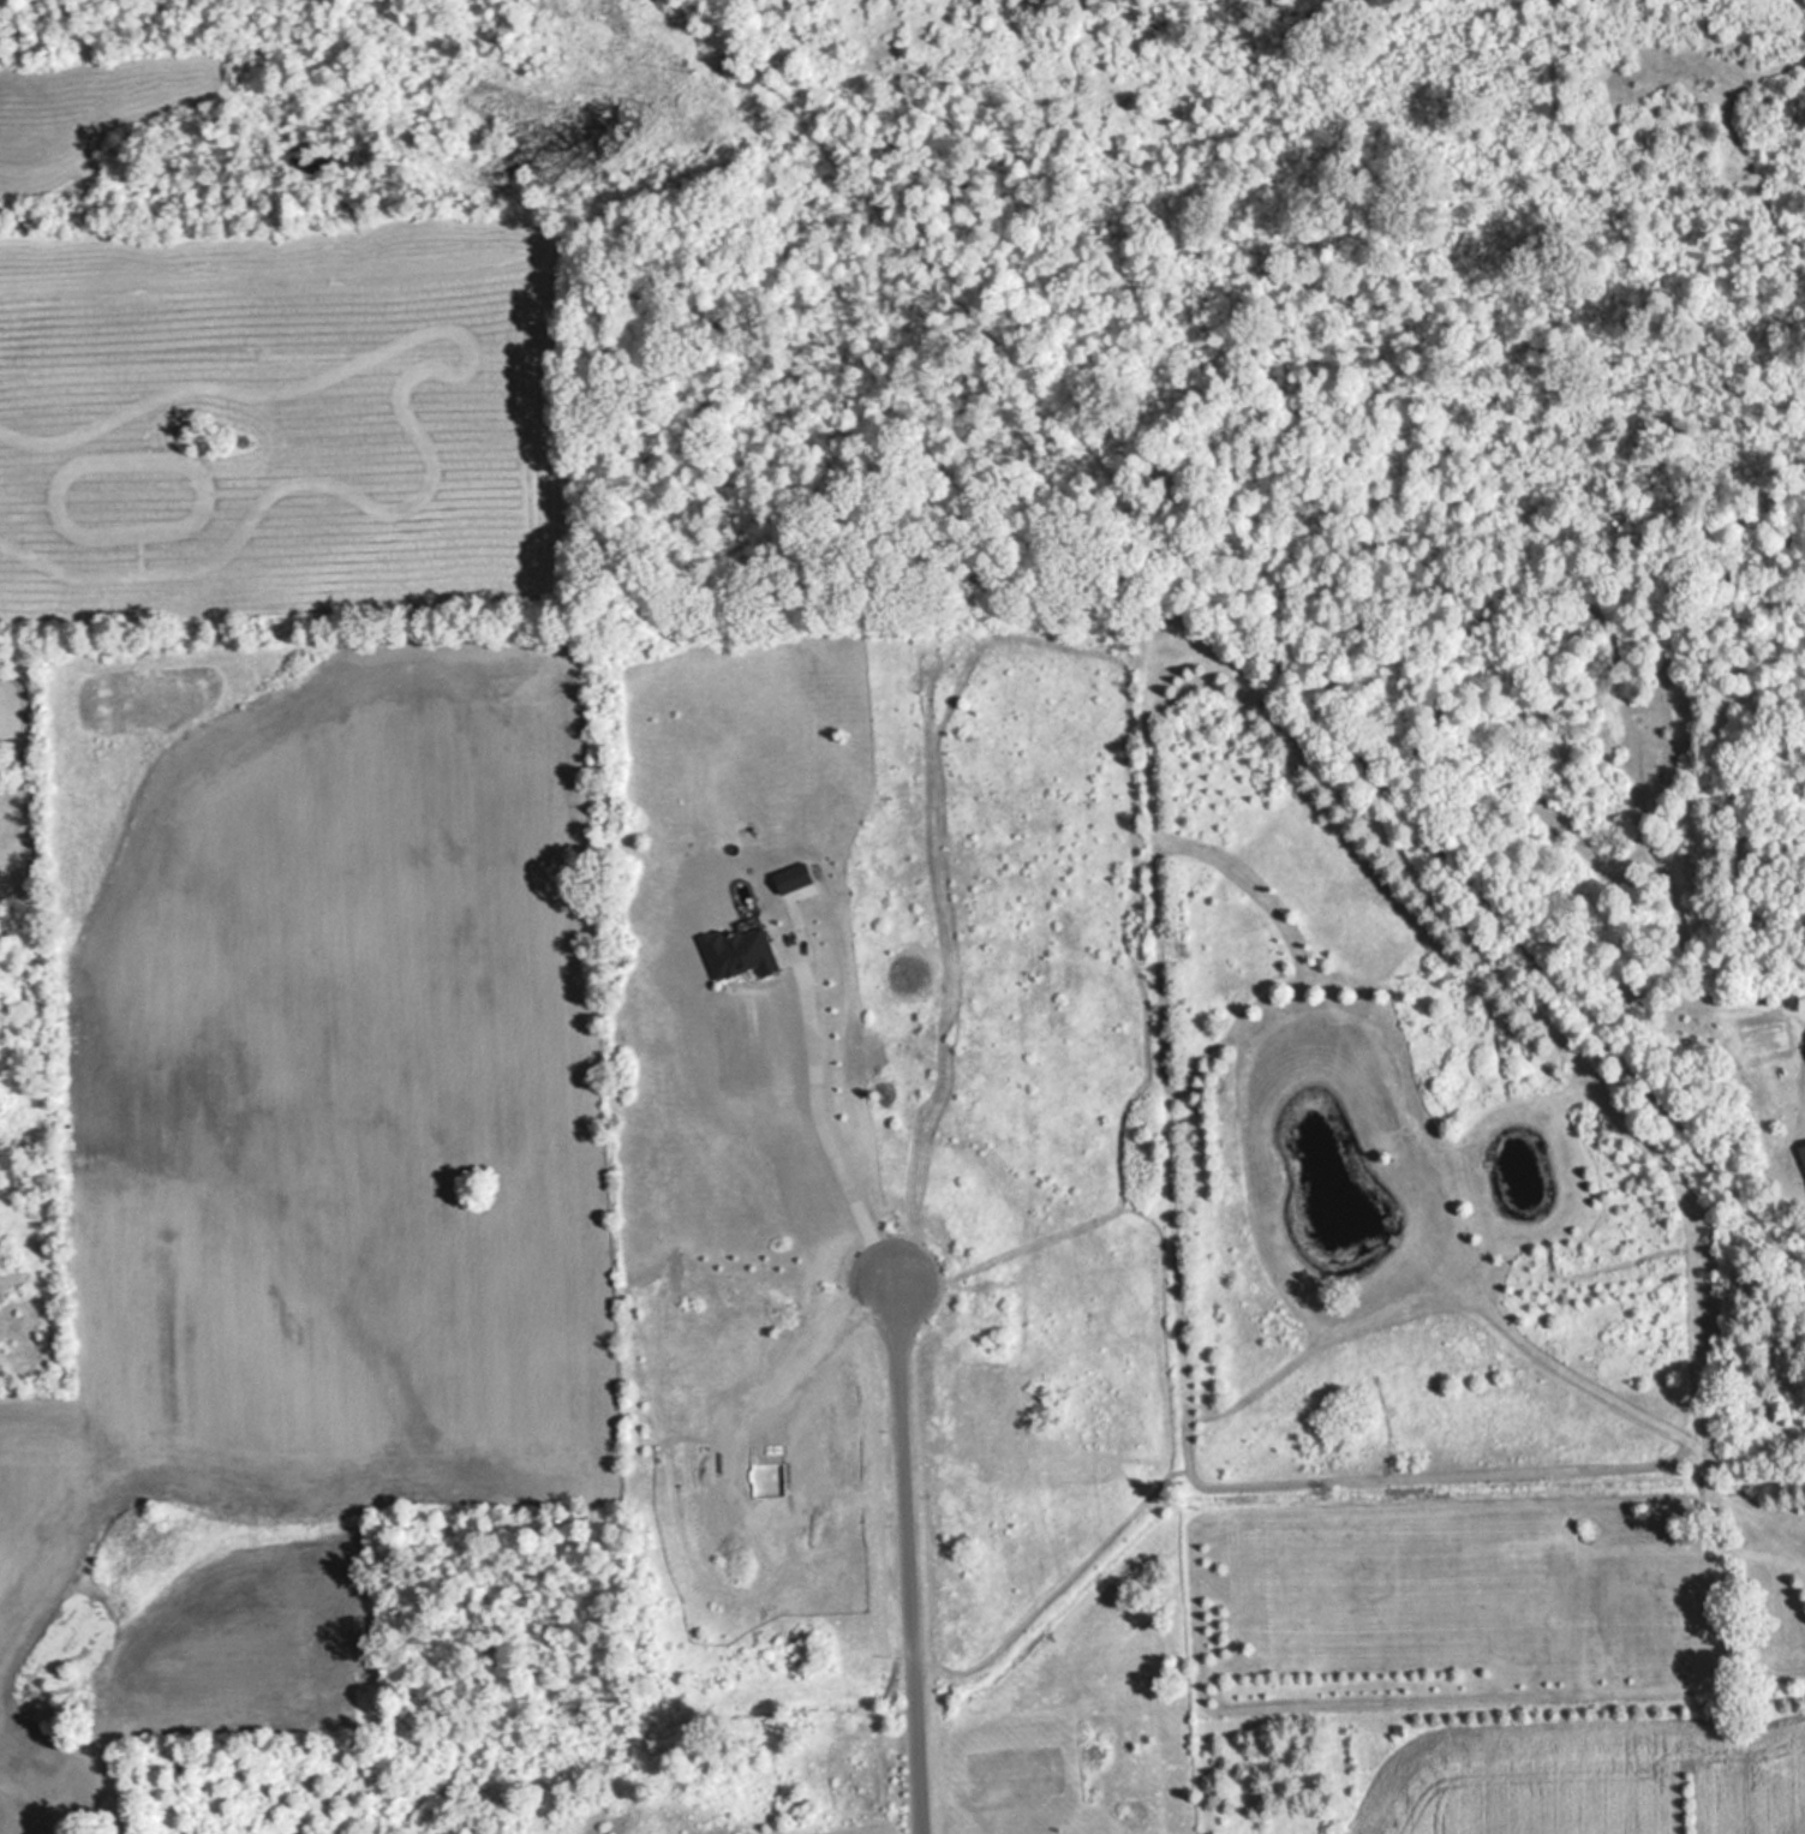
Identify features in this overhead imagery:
road: (1239, 650)
building: (1793, 1110)
road: (825, 1117)
road: (906, 1553)

